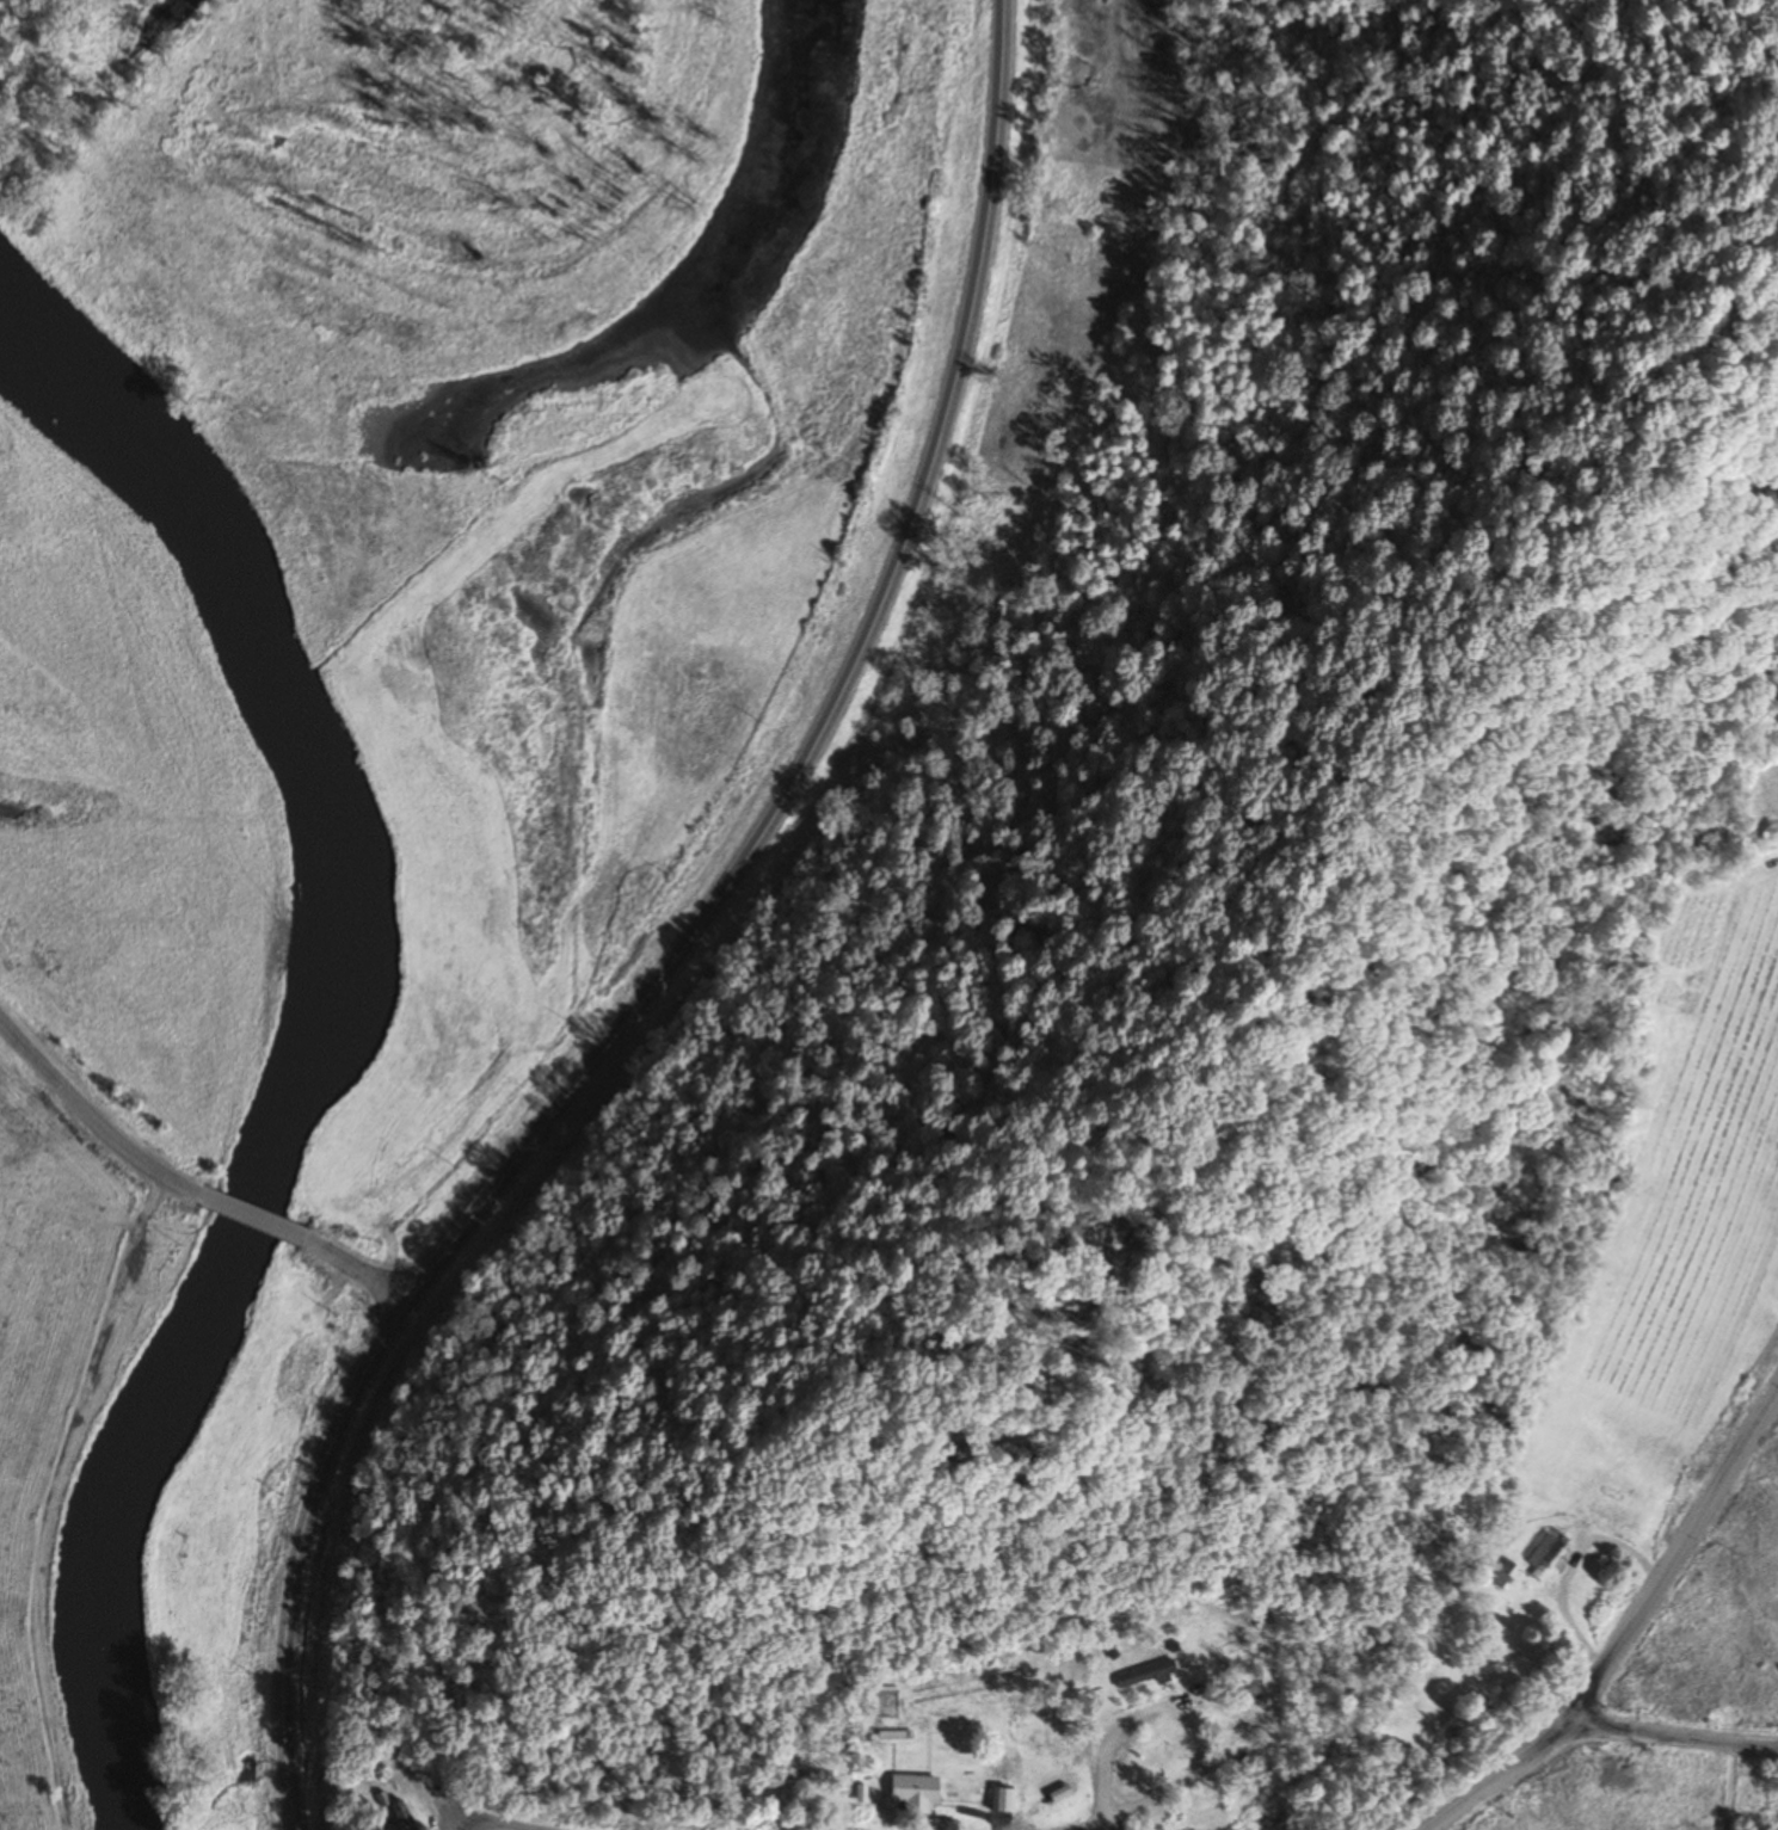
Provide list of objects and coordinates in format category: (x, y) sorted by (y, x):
road: (832, 707)
park: (1754, 789)
river: (316, 1029)
road: (91, 1122)
road: (252, 1218)
road: (355, 1270)
building: (1543, 1549)
road: (300, 1555)
building: (1502, 1573)
road: (1624, 1628)
building: (1143, 1674)
building: (1250, 1694)
road: (1668, 1736)
building: (805, 1776)
building: (911, 1795)
building: (999, 1800)
building: (389, 1813)
road: (486, 1823)
road: (455, 1828)

